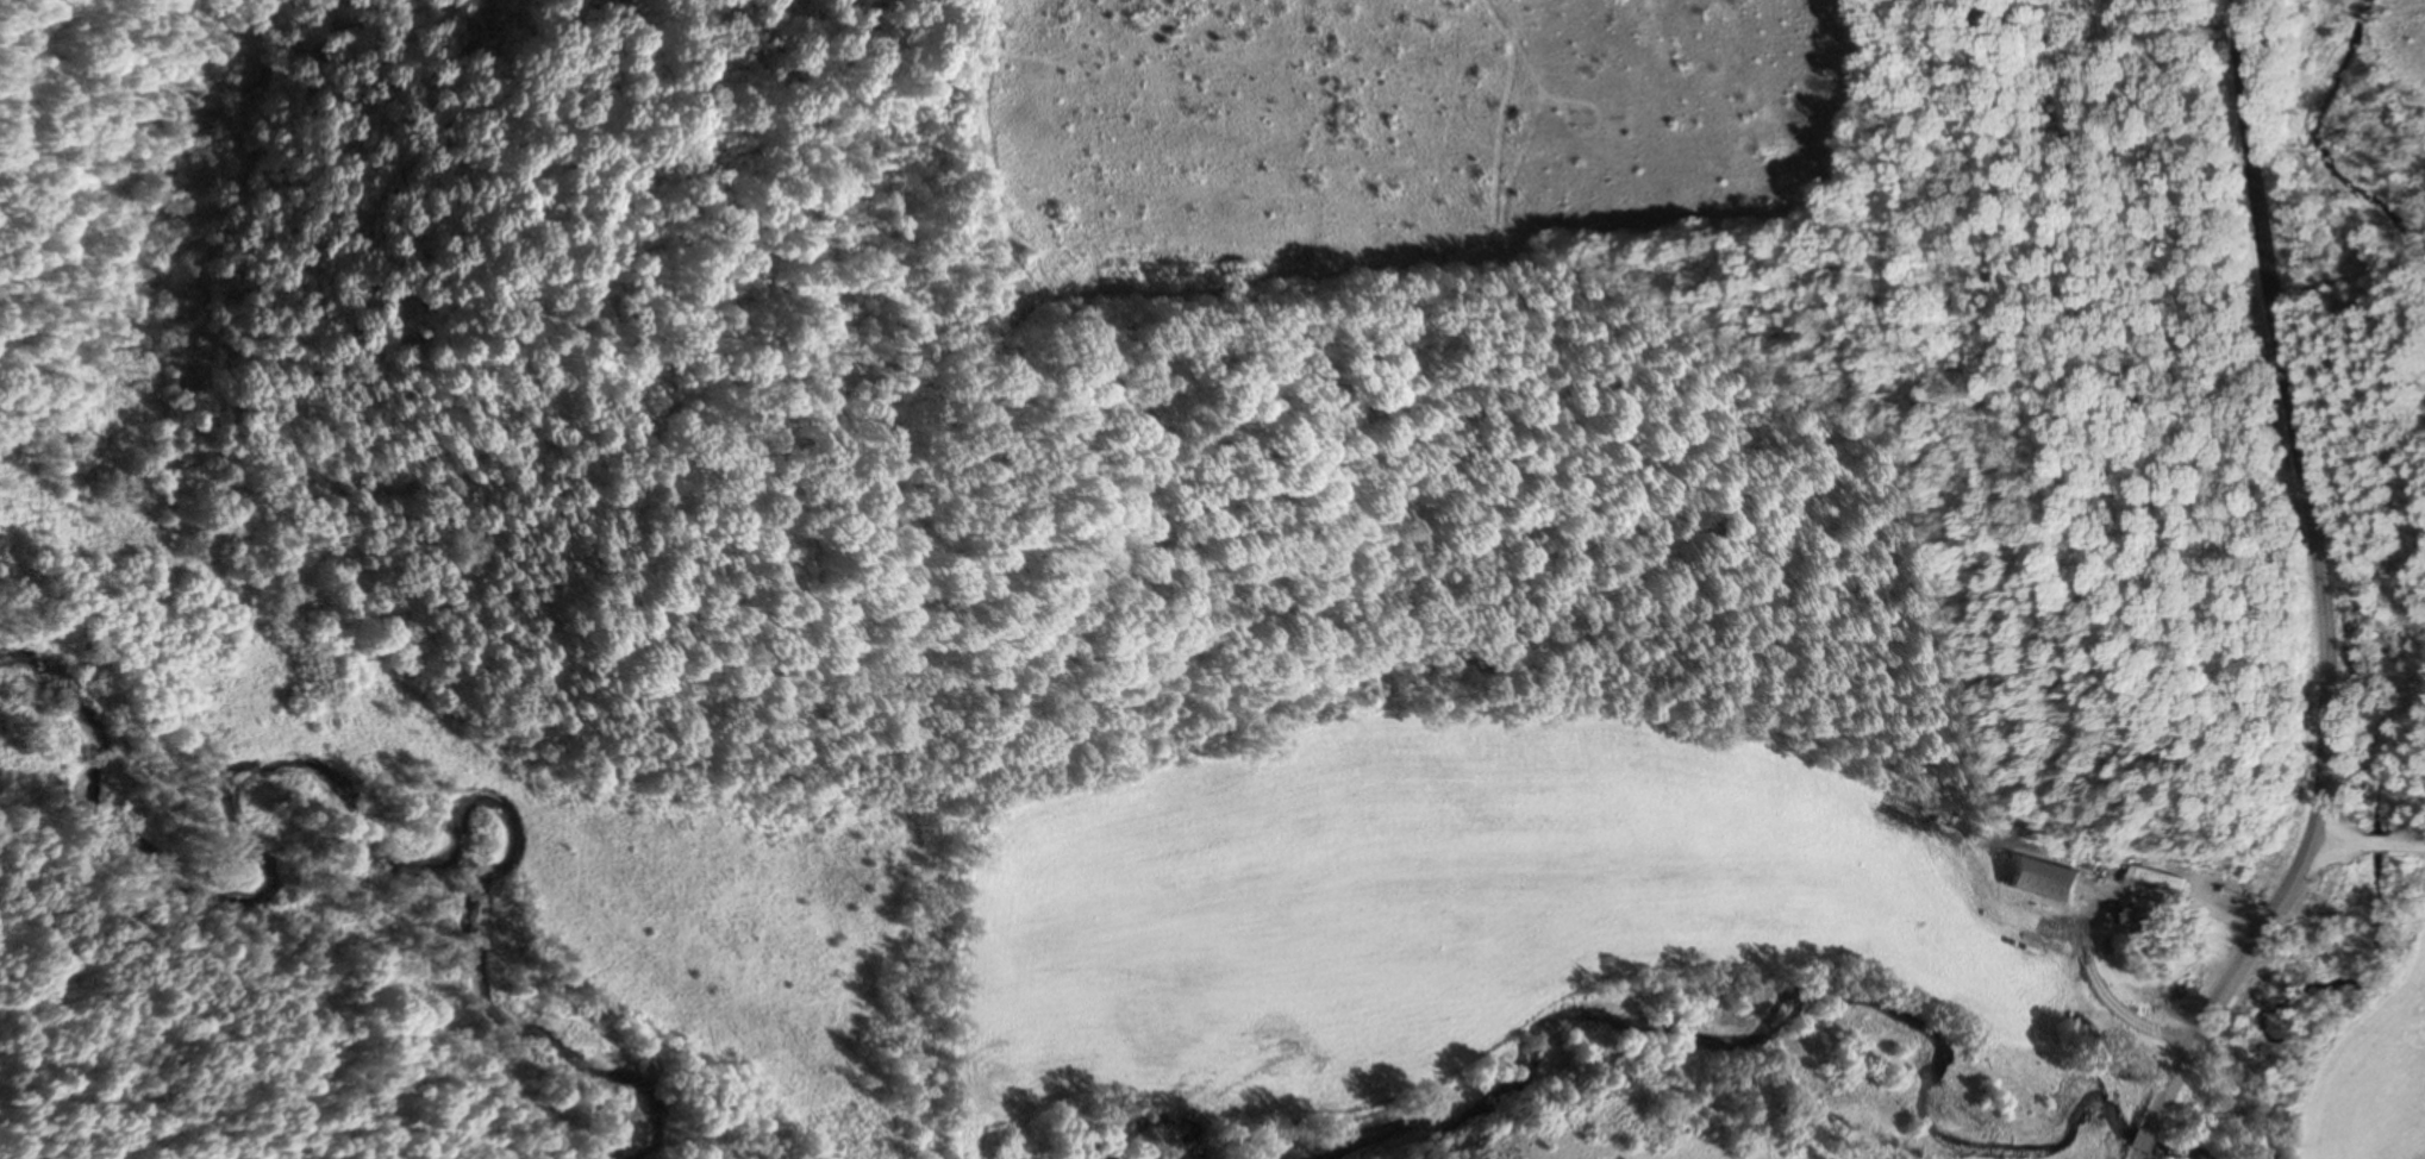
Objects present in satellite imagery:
road: (2324, 584)
road: (2368, 841)
building: (2043, 872)
road: (2136, 1144)

